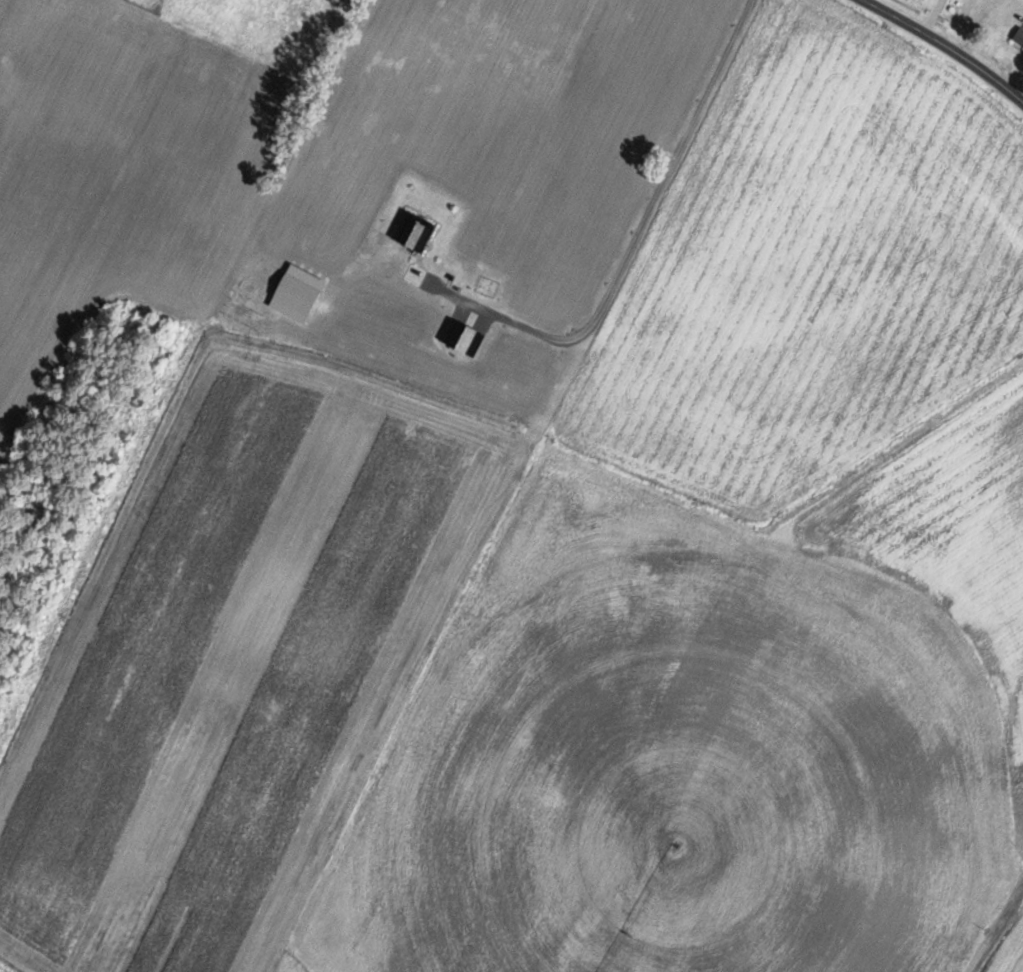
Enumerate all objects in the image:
building: (1016, 37)
road: (947, 47)

